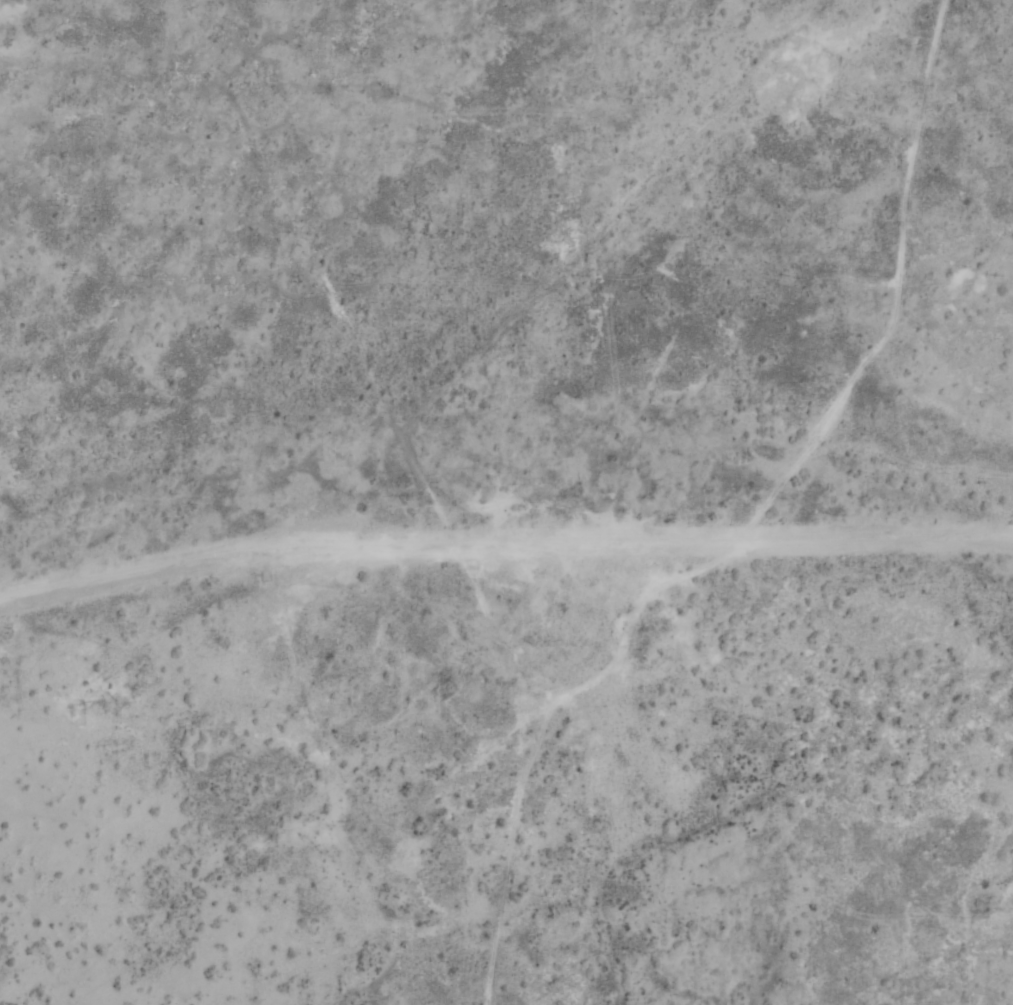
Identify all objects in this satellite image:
road: (895, 292)

